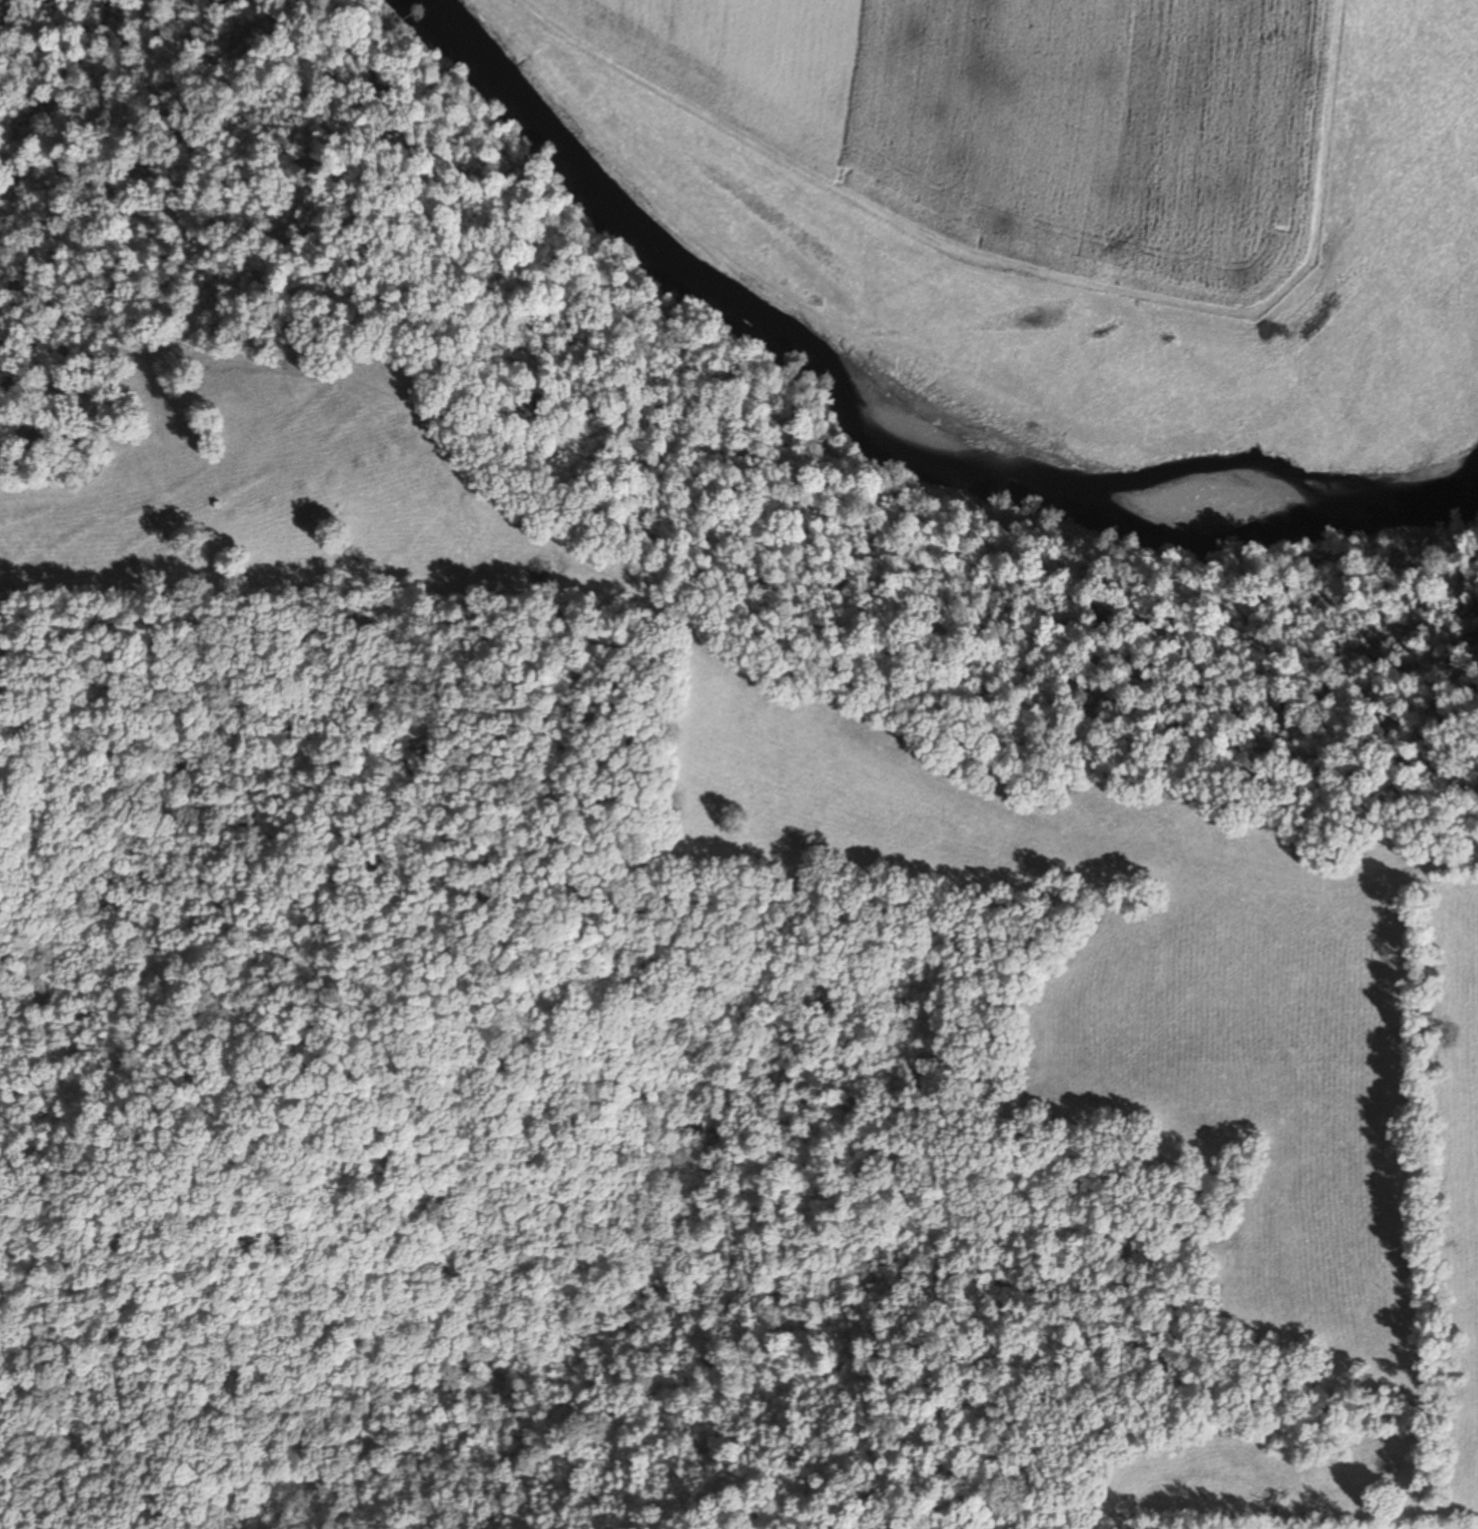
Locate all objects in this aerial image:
river: (886, 407)

